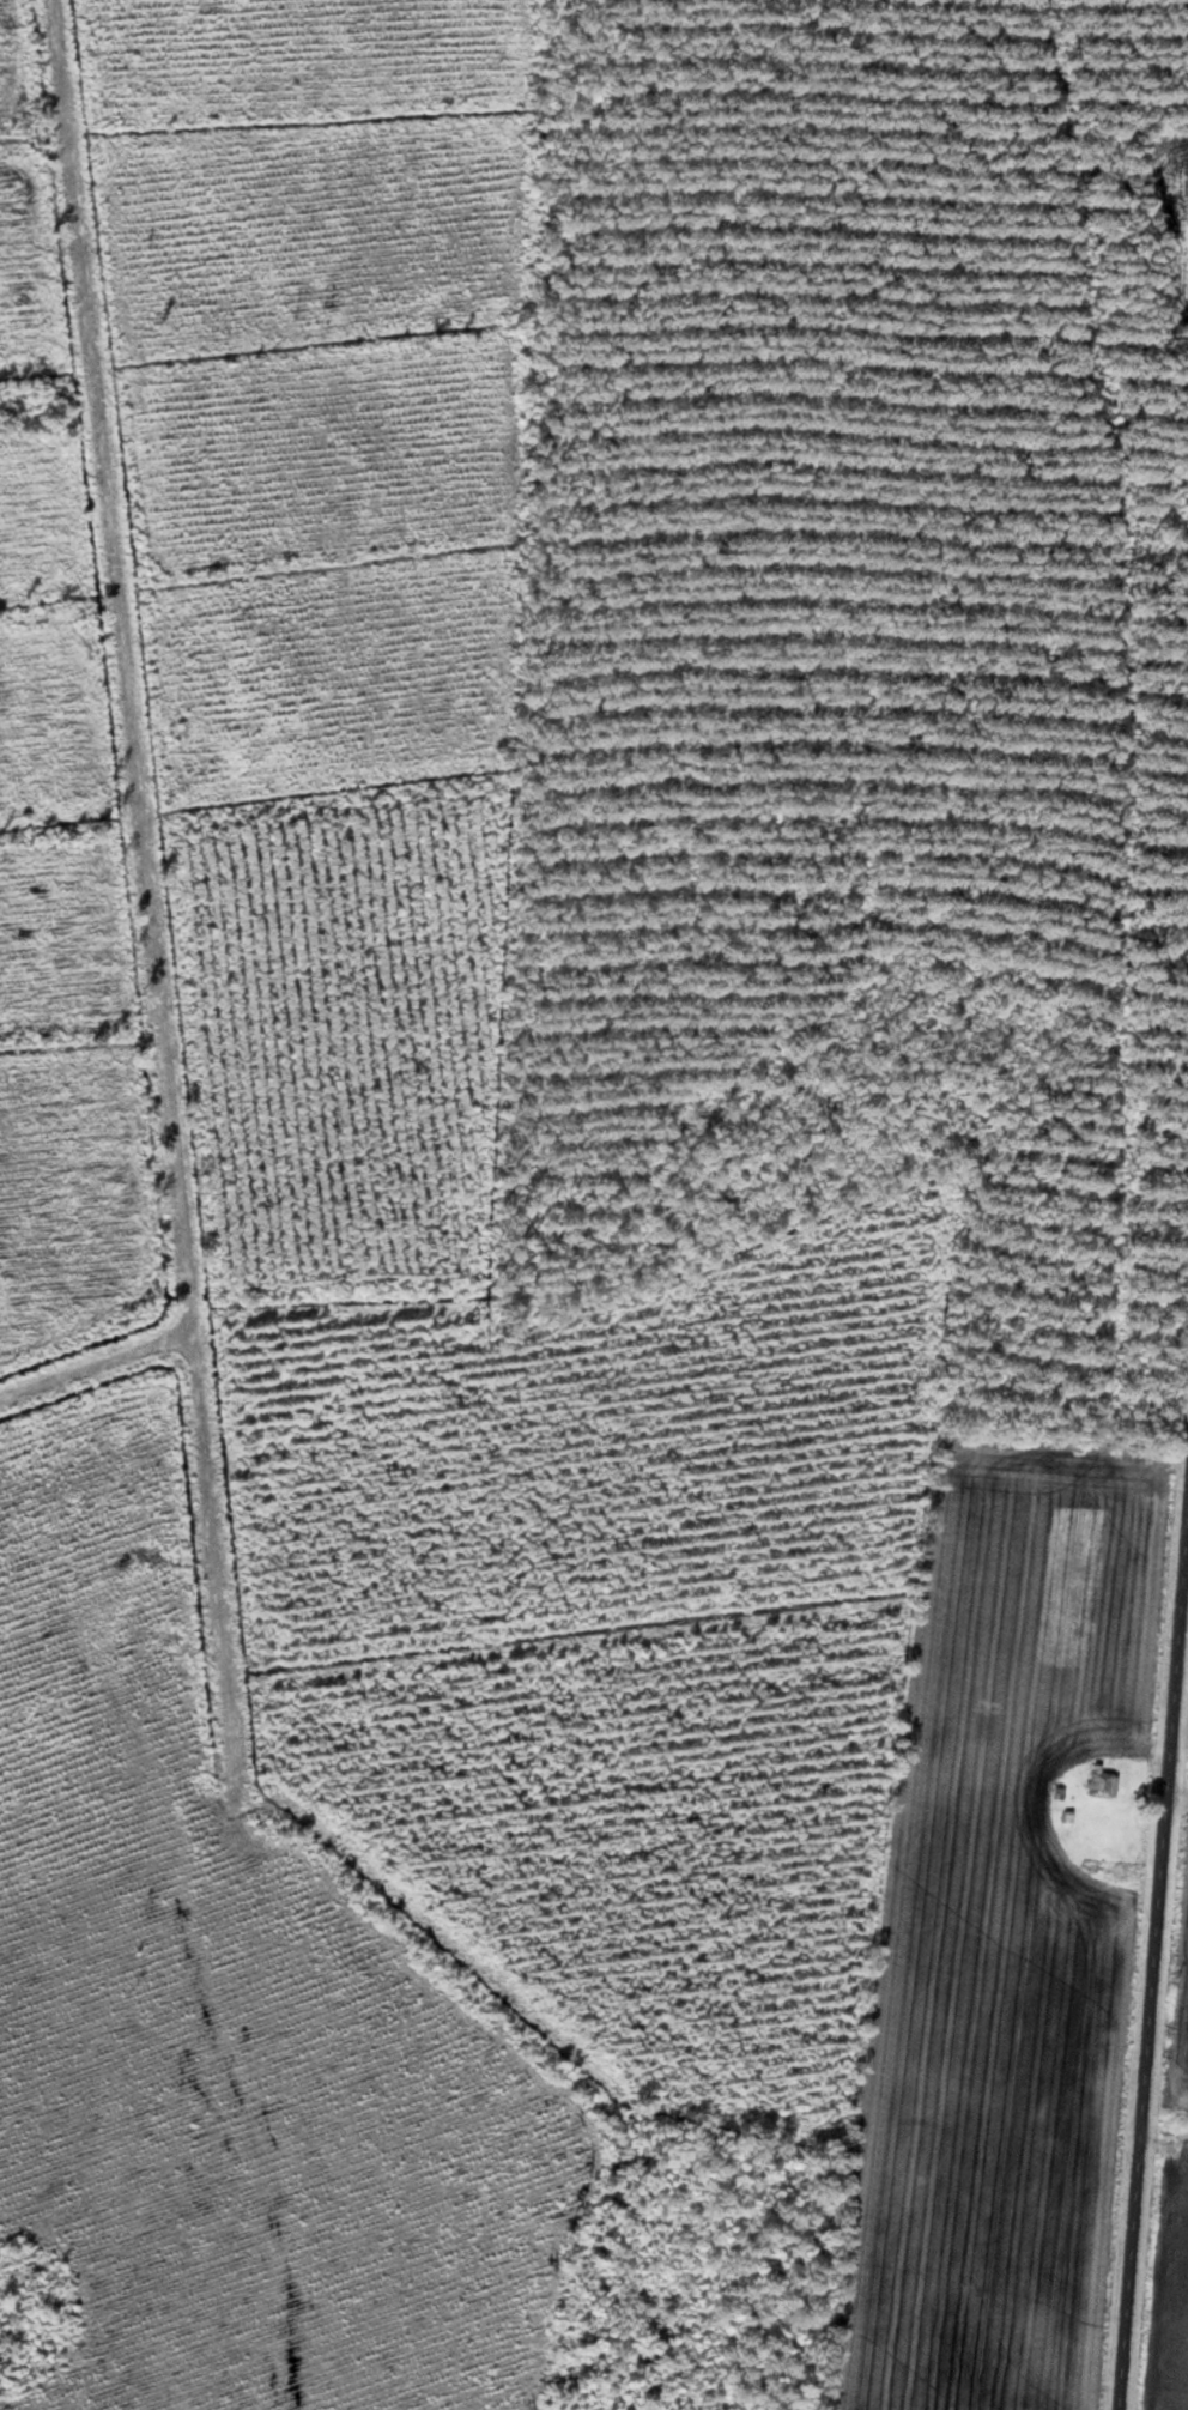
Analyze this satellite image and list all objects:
road: (178, 1491)
building: (1105, 1780)
road: (1154, 2000)

